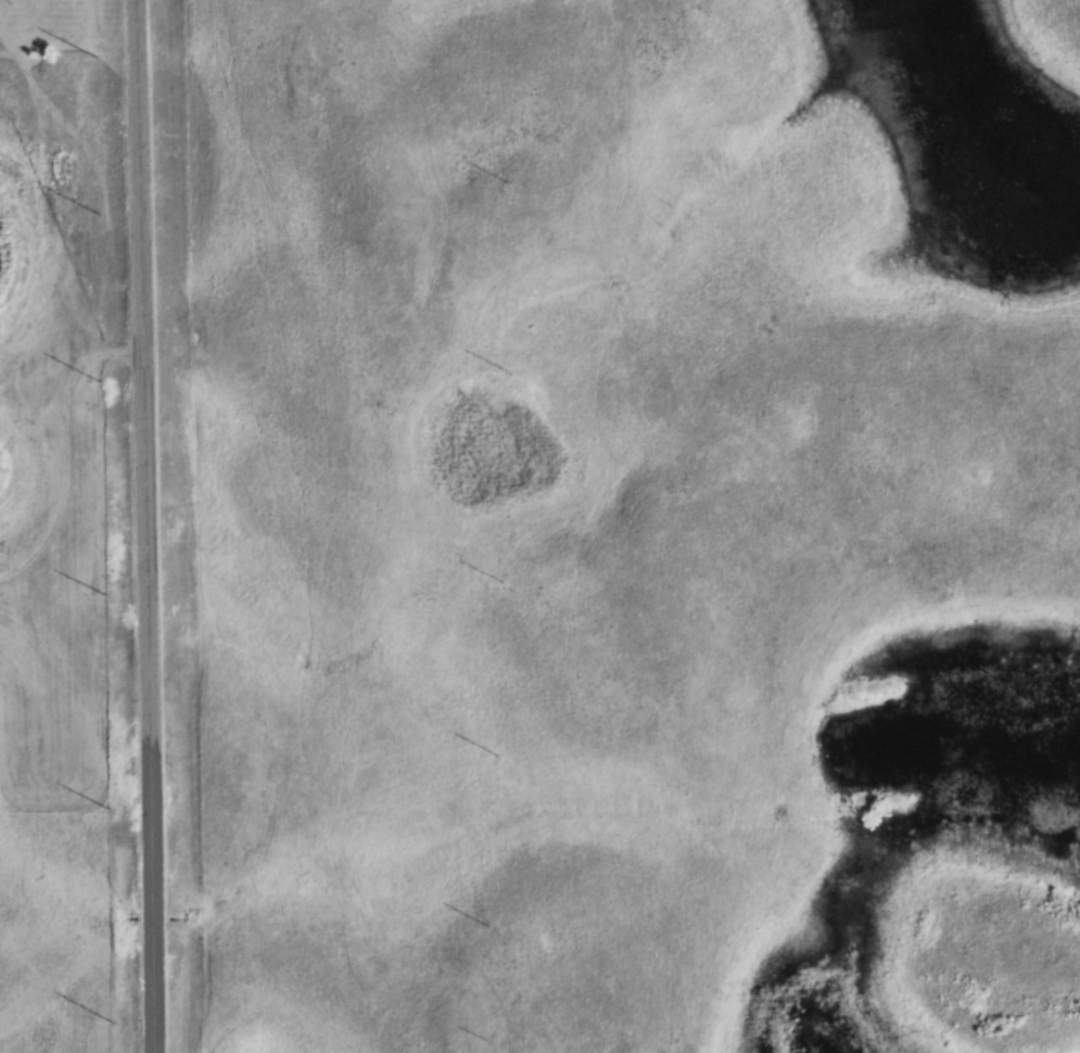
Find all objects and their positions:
road: (143, 525)
road: (78, 612)

